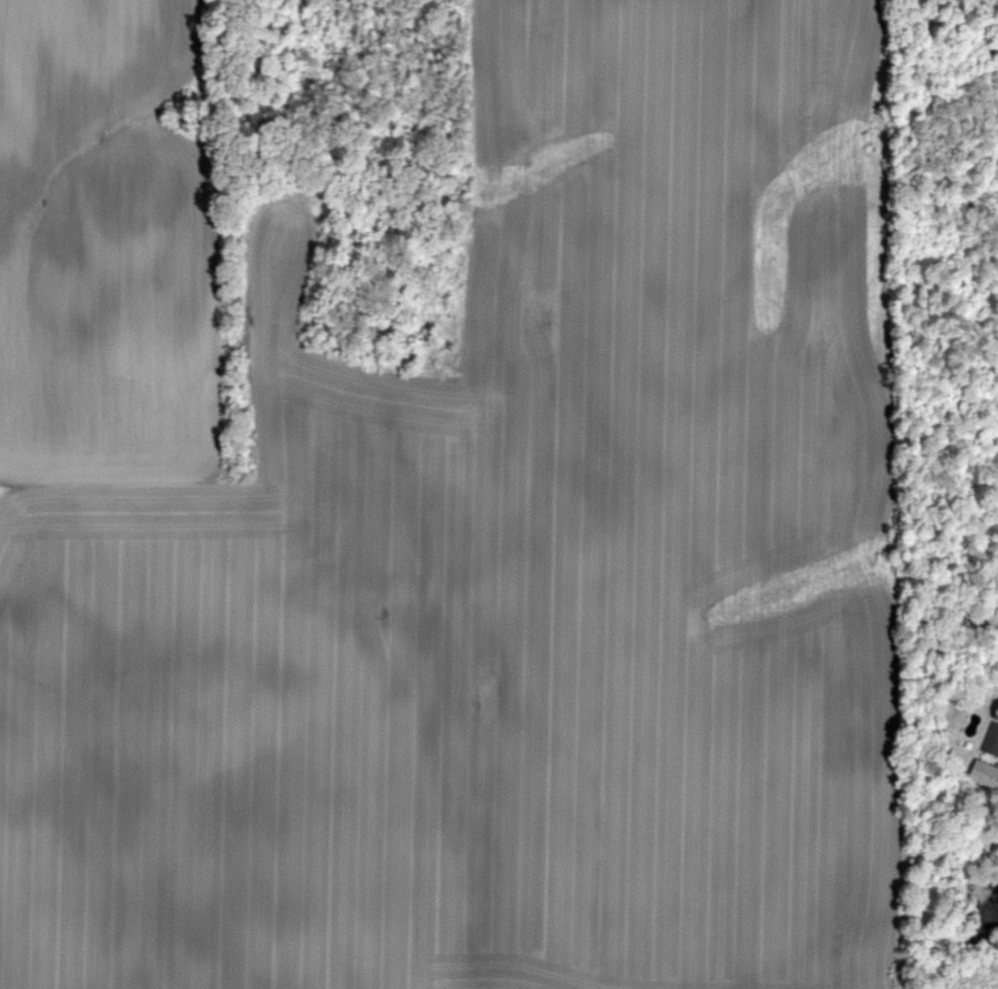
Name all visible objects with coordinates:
building: (992, 741)
building: (986, 775)

